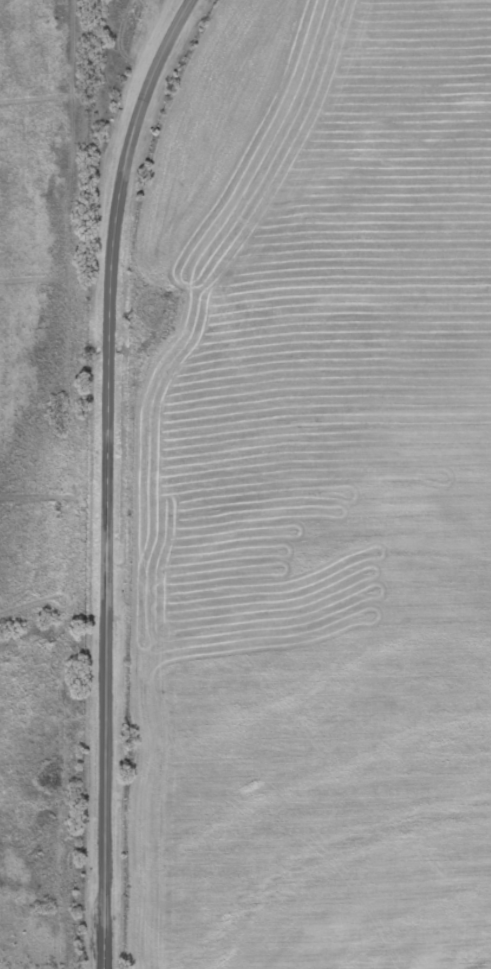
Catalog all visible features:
road: (108, 476)

